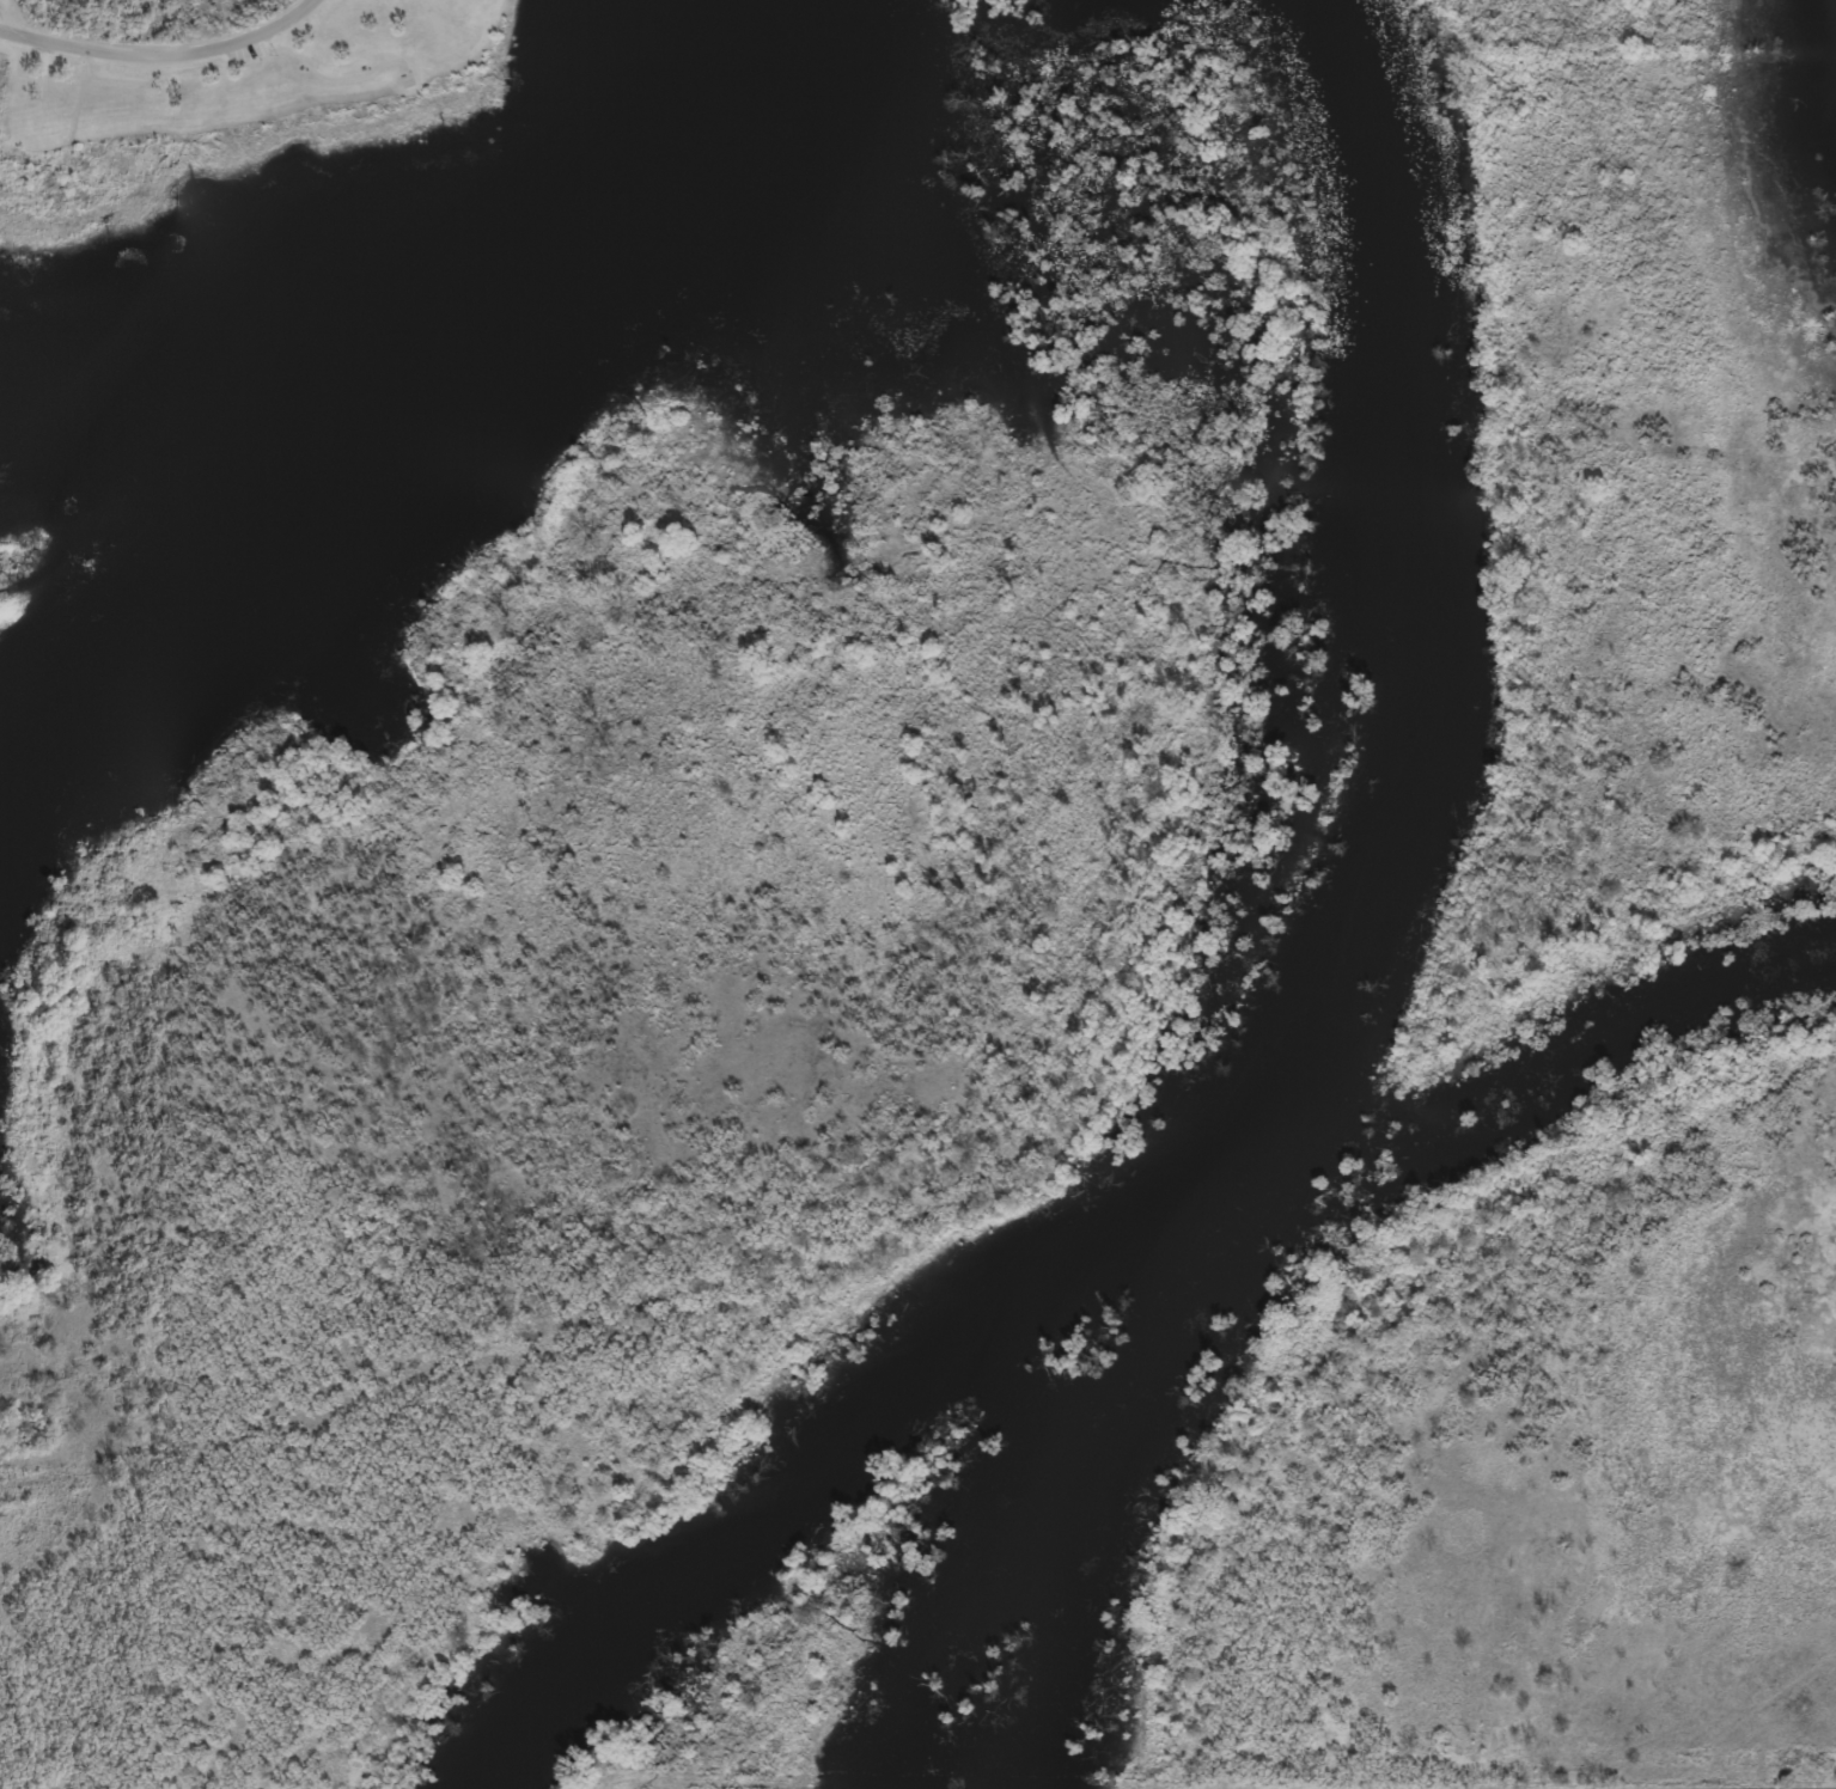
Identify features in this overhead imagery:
parking lot: (248, 49)
road: (160, 51)
road: (319, 74)
road: (404, 87)
park: (239, 145)
park: (77, 544)

